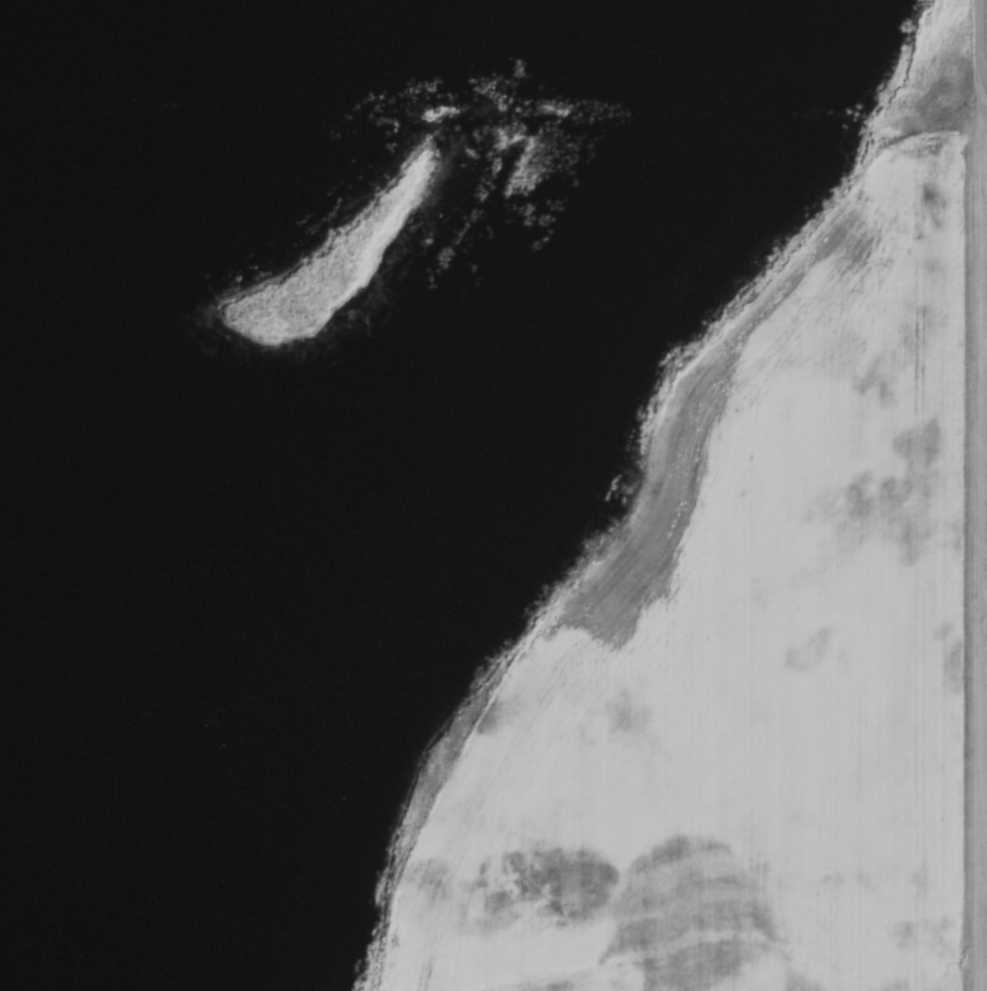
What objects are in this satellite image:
road: (983, 58)
road: (985, 116)

